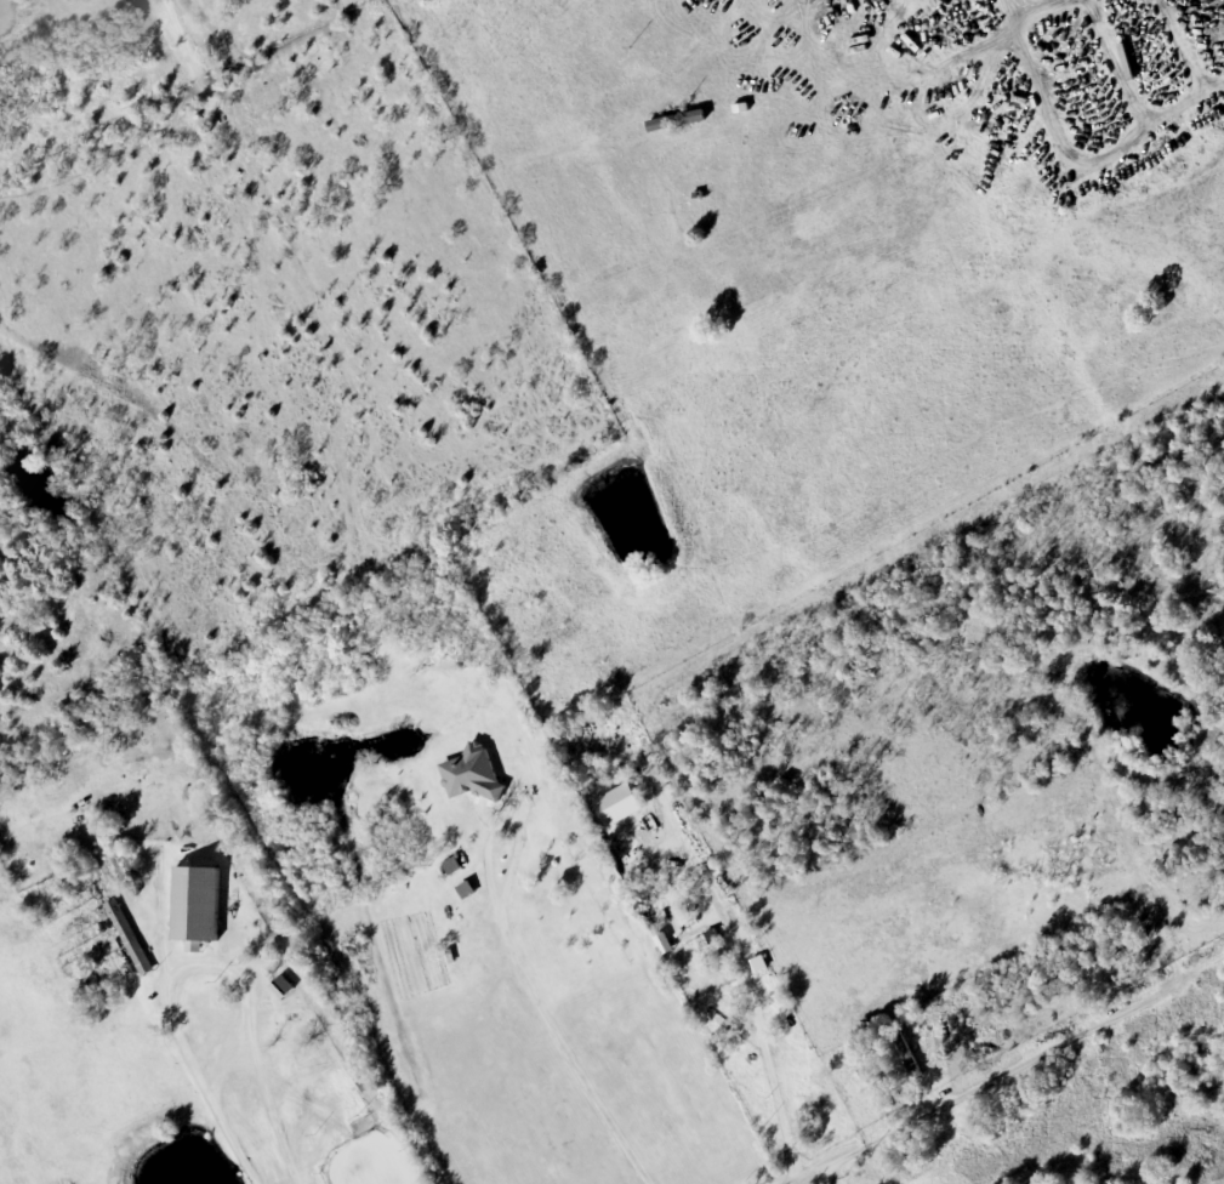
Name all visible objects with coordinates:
road: (342, 38)
building: (674, 121)
building: (687, 360)
building: (472, 775)
building: (195, 907)
building: (138, 958)
building: (281, 987)
road: (822, 1167)

